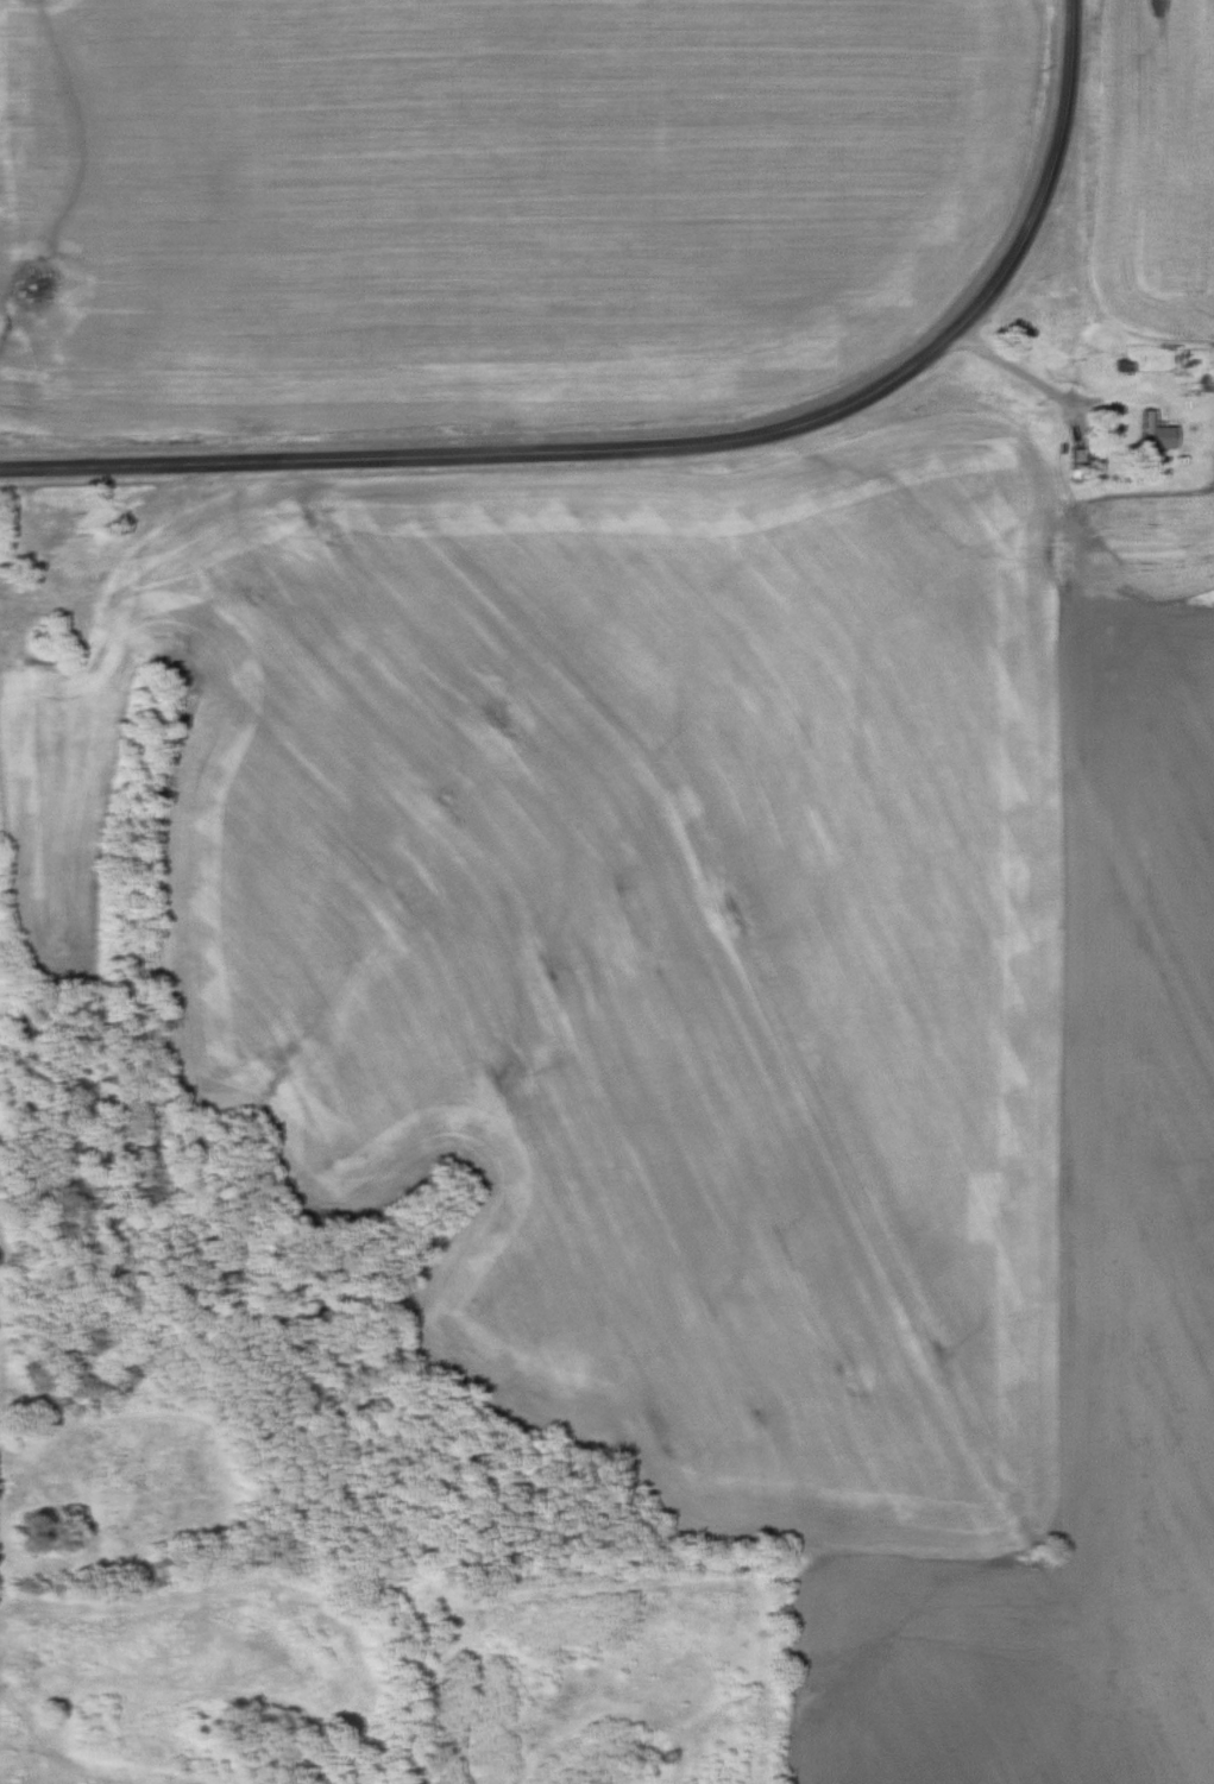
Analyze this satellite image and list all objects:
road: (1017, 378)
building: (1146, 431)
road: (673, 452)
building: (1078, 458)
park: (94, 1479)

